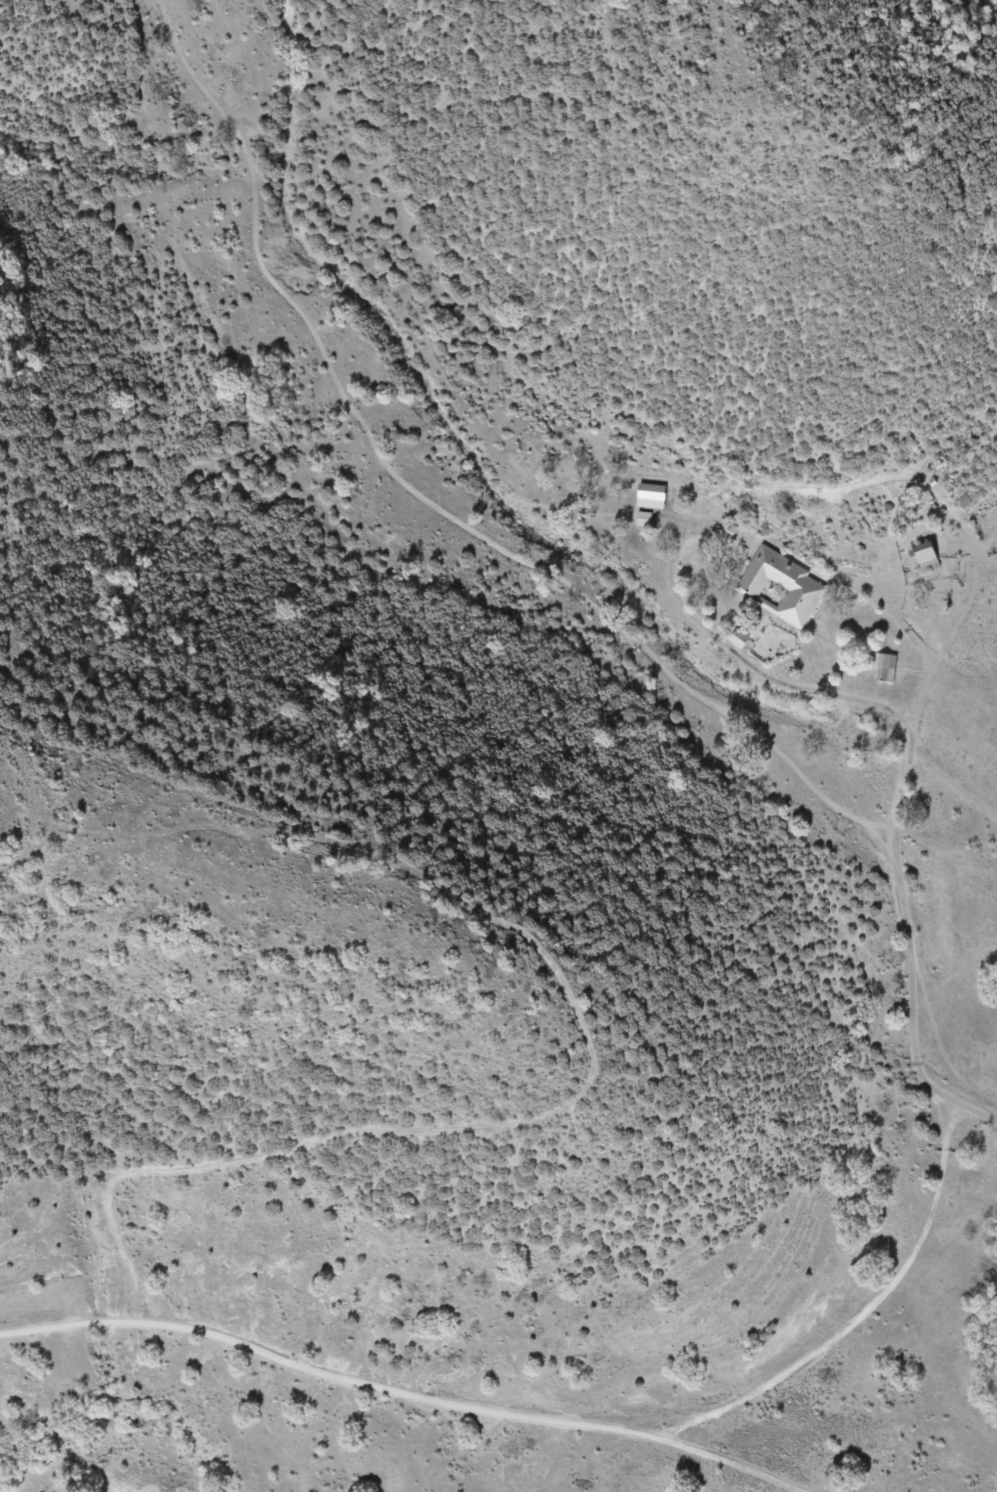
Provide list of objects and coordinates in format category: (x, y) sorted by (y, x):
building: (645, 497)
road: (975, 512)
building: (919, 559)
building: (778, 586)
building: (879, 667)
road: (962, 1005)
road: (958, 1094)

